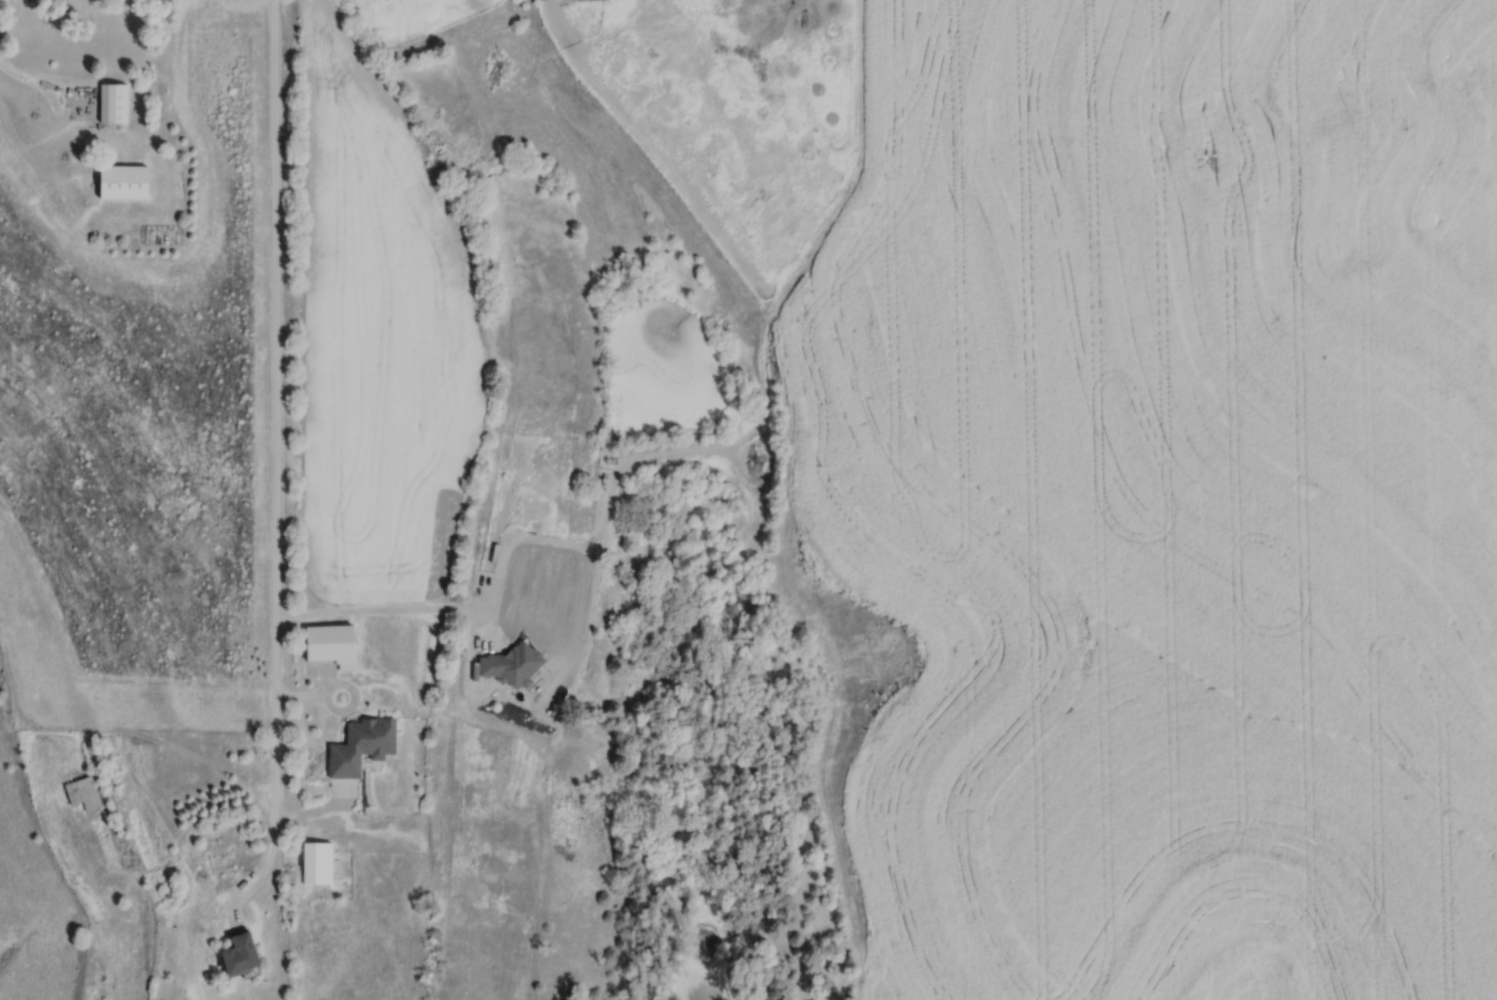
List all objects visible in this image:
building: (590, 0)
building: (111, 104)
building: (120, 181)
road: (276, 469)
road: (380, 608)
building: (328, 645)
building: (508, 667)
road: (310, 693)
building: (358, 746)
building: (90, 803)
building: (315, 863)
building: (236, 955)

